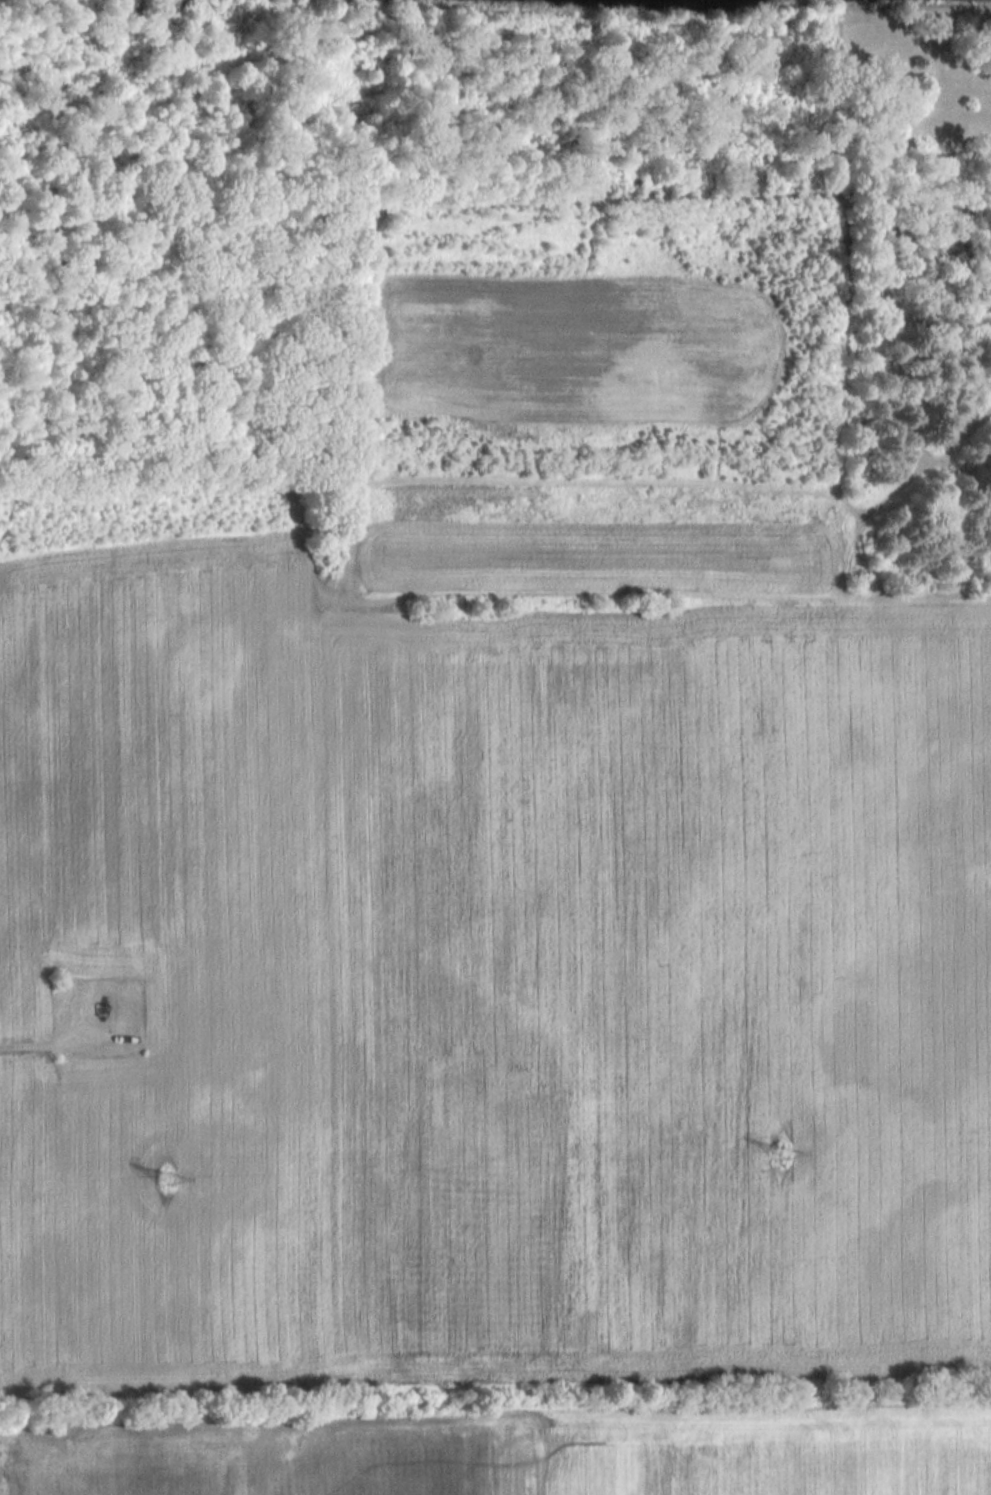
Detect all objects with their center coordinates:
power tower: (780, 1156)
power tower: (170, 1182)

